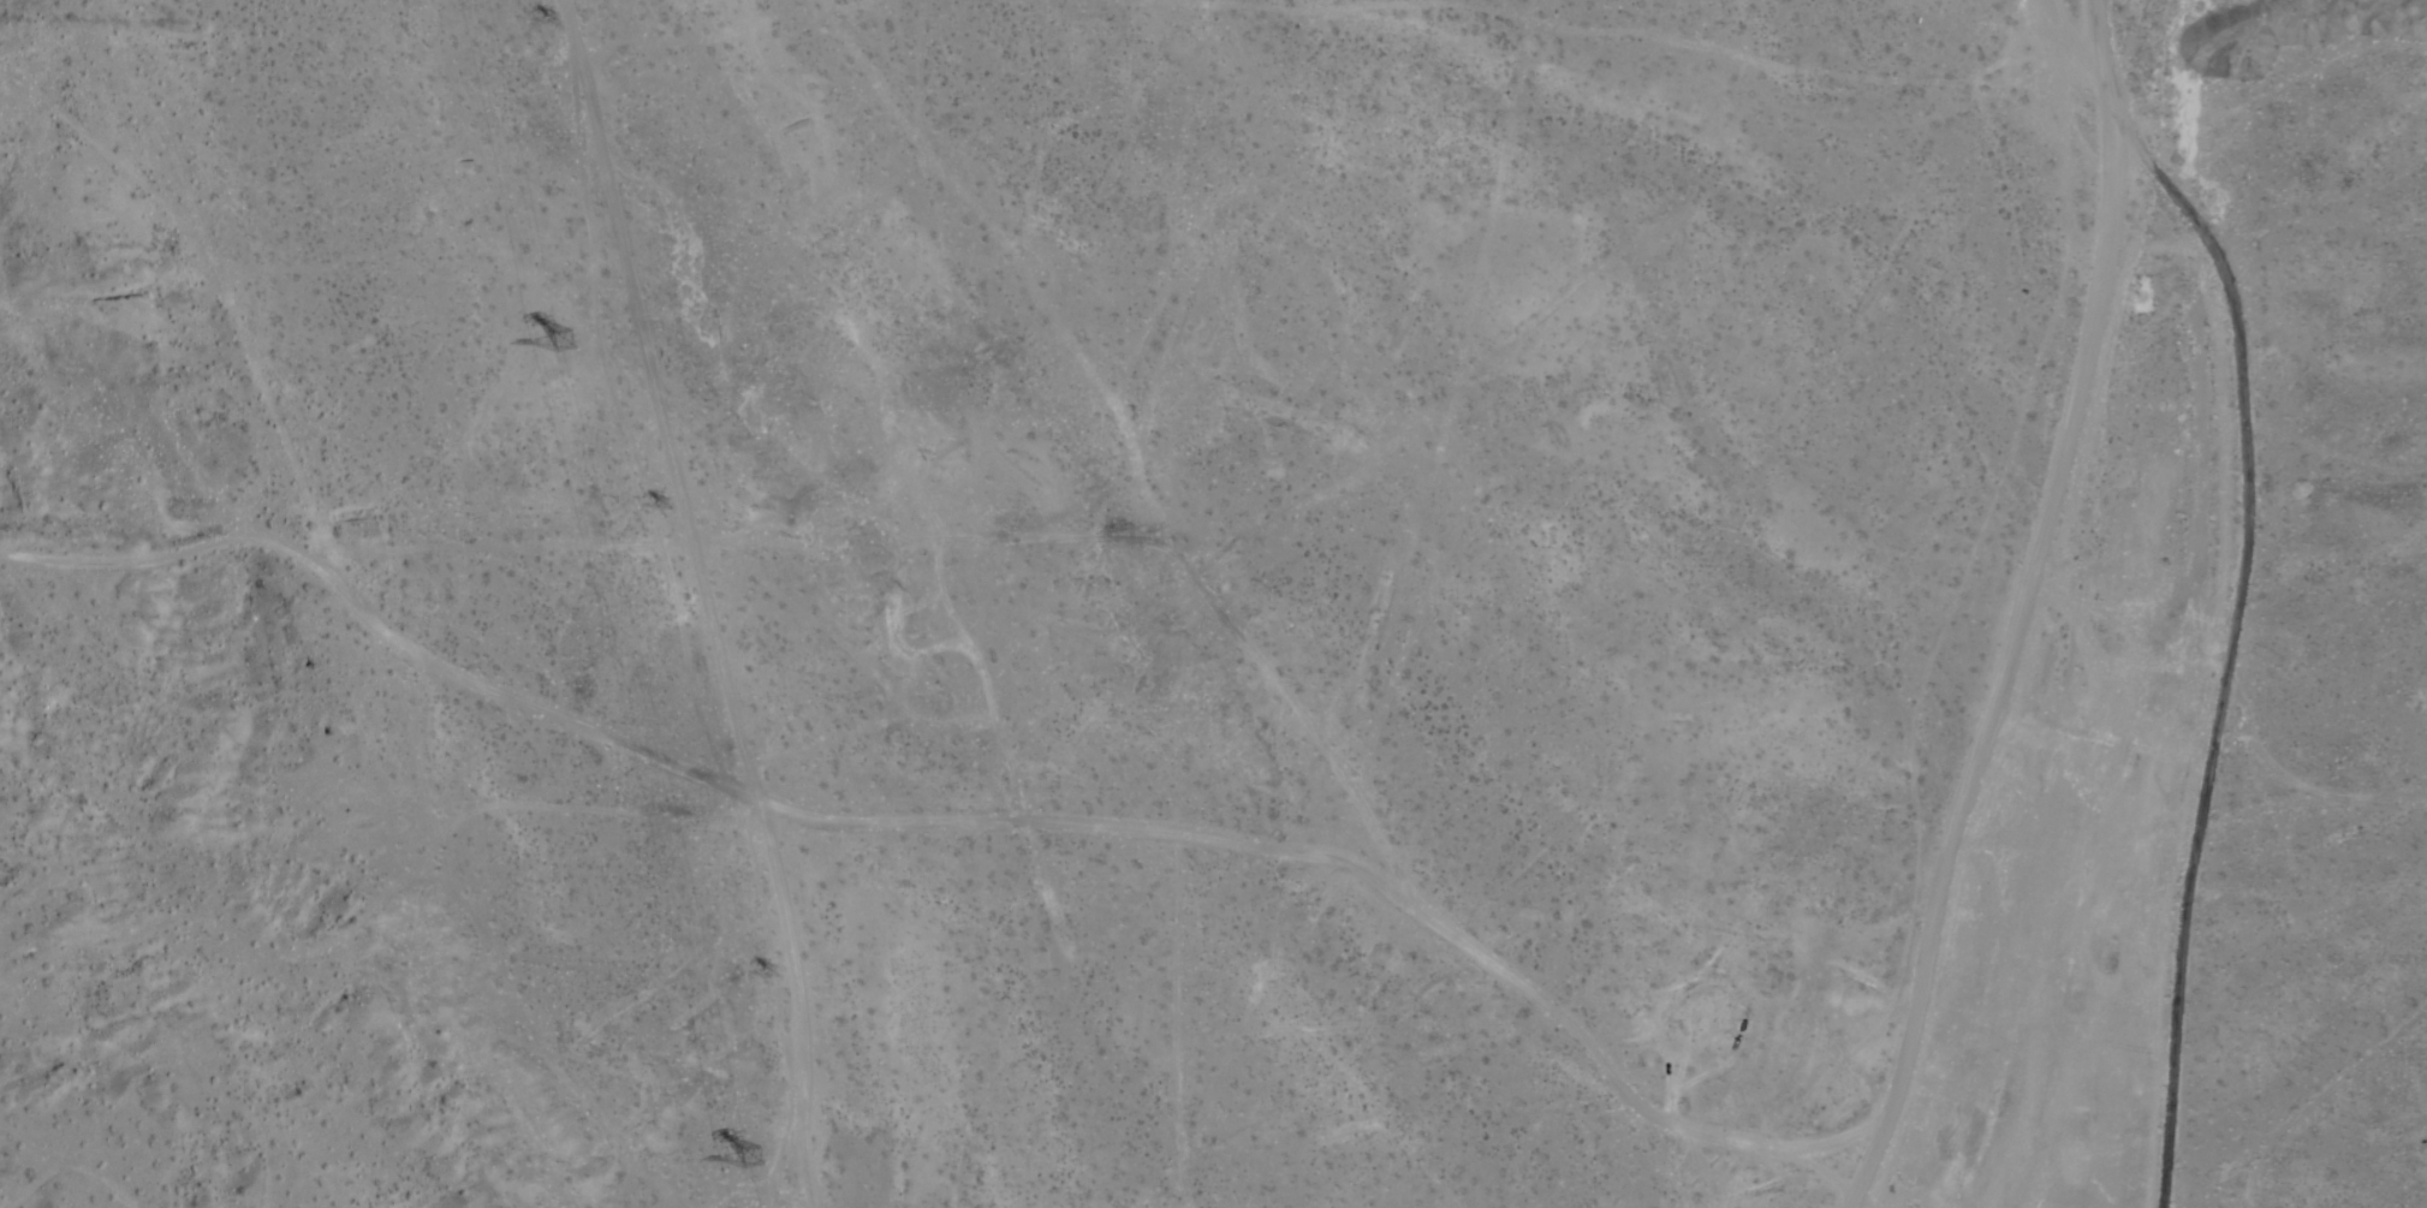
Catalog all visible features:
power tower: (555, 25)
road: (2104, 66)
crop: (2208, 115)
power tower: (569, 350)
building: (2236, 376)
power tower: (671, 510)
road: (706, 601)
road: (380, 631)
road: (2217, 654)
road: (2001, 672)
crop: (2223, 948)
power tower: (777, 978)
power tower: (759, 1164)

